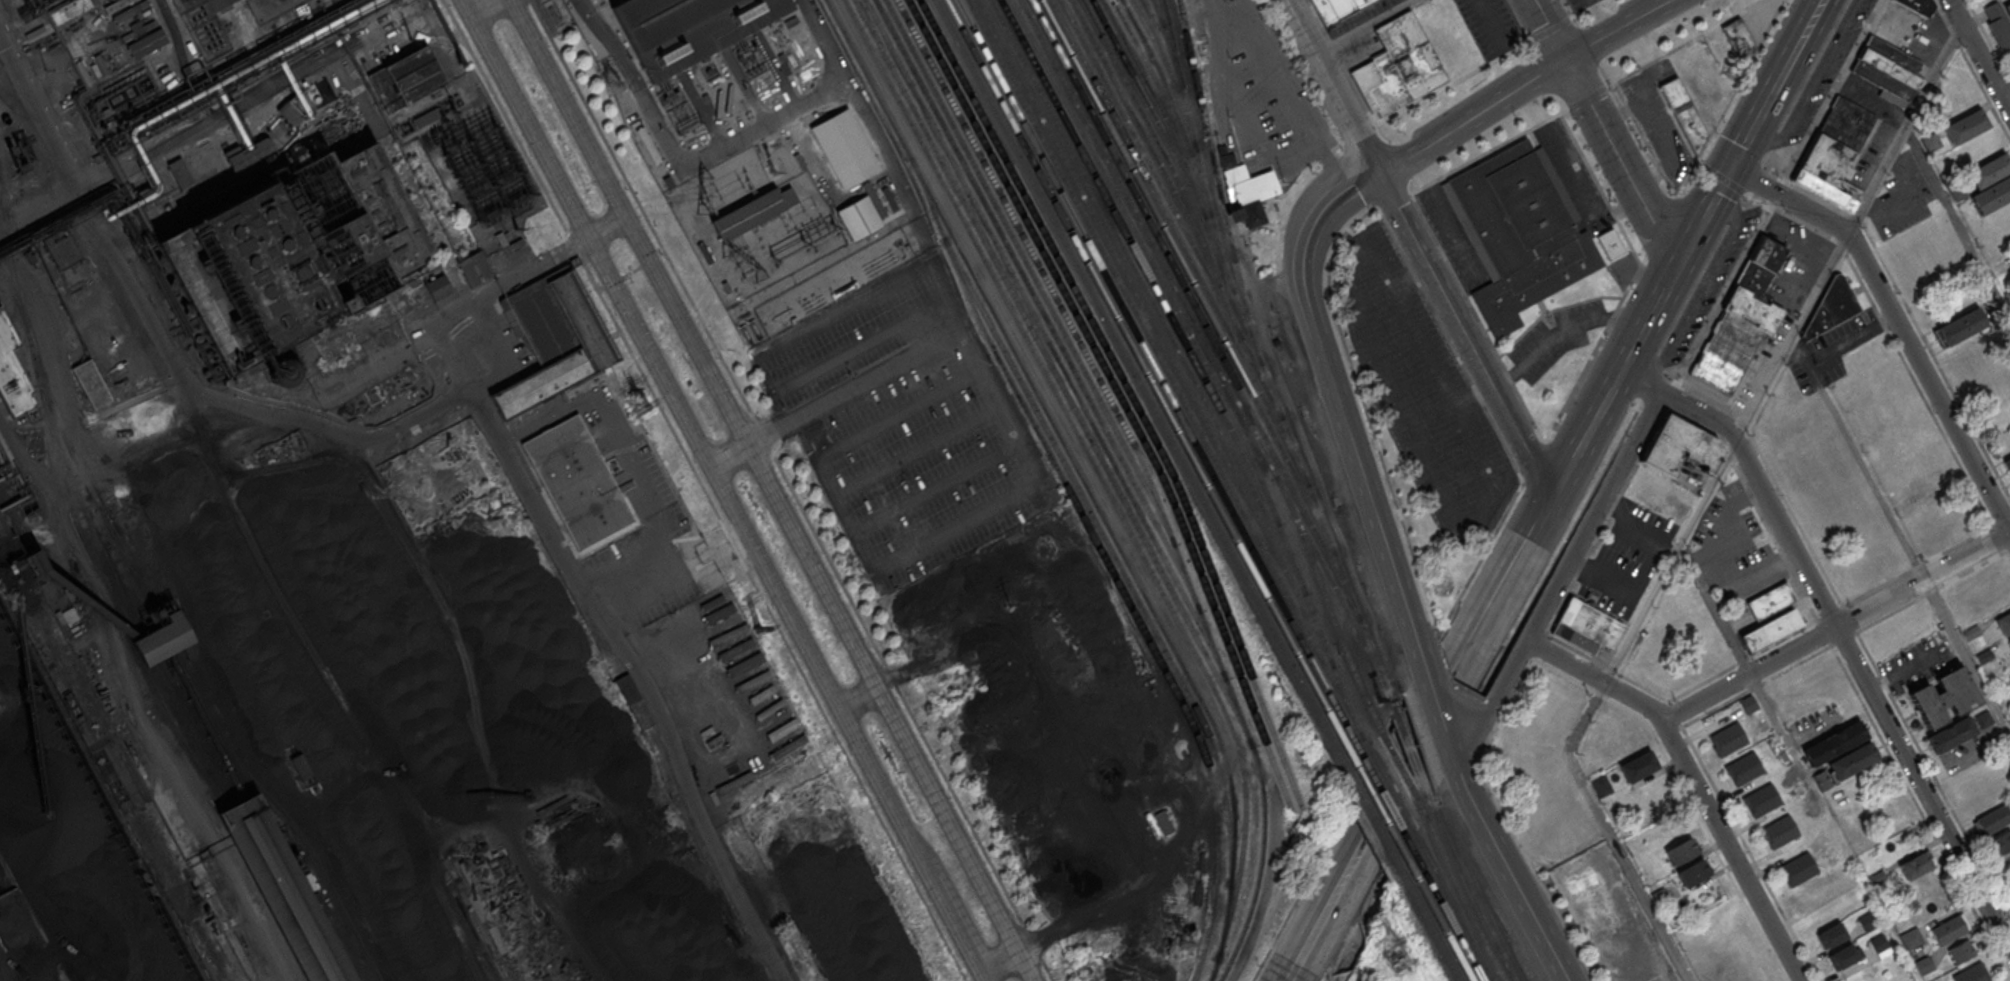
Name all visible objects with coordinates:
building: (115, 0)
road: (1951, 1)
building: (218, 4)
parking lot: (1579, 4)
building: (115, 5)
road: (479, 5)
building: (1918, 6)
road: (1216, 7)
power substation: (270, 8)
building: (1337, 9)
building: (130, 11)
railway: (1158, 12)
railway: (1165, 12)
road: (1601, 17)
road: (1809, 23)
building: (1999, 23)
parking lot: (1490, 25)
road: (1365, 26)
building: (687, 29)
road: (1620, 29)
building: (141, 36)
building: (1739, 39)
railway: (1168, 42)
road: (1971, 43)
railway: (1156, 44)
building: (96, 66)
building: (1398, 66)
road: (1785, 68)
building: (1888, 70)
road: (780, 73)
railway: (1160, 75)
railway: (1172, 77)
building: (405, 79)
road: (2002, 82)
road: (1335, 85)
power tower: (612, 88)
road: (1810, 90)
road: (749, 91)
road: (2002, 100)
railway: (1168, 104)
railway: (1149, 108)
building: (290, 113)
road: (703, 113)
building: (1685, 114)
road: (1475, 116)
building: (426, 117)
road: (870, 121)
building: (1965, 127)
road: (1752, 130)
road: (1605, 131)
road: (1906, 131)
railway: (1146, 141)
road: (1296, 141)
railway: (1175, 142)
power plant: (759, 150)
building: (1834, 151)
building: (787, 152)
road: (682, 155)
building: (251, 158)
road: (1327, 161)
building: (865, 162)
power substation: (478, 163)
railway: (1169, 165)
traffic signals: (1730, 170)
building: (183, 178)
railway: (1216, 183)
building: (1990, 183)
building: (880, 193)
road: (1337, 193)
building: (1252, 194)
building: (787, 196)
road: (1908, 201)
power substation: (775, 208)
railway: (1171, 208)
road: (39, 209)
building: (747, 213)
railway: (1128, 220)
road: (1958, 225)
building: (1519, 234)
railway: (1180, 242)
building: (1610, 245)
building: (62, 248)
building: (293, 254)
road: (663, 255)
road: (651, 261)
traffic signals: (651, 262)
railway: (1140, 262)
railway: (14, 267)
building: (475, 269)
road: (632, 271)
railway: (1032, 271)
road: (1411, 274)
railway: (1189, 276)
road: (613, 282)
traffic signals: (613, 282)
building: (438, 287)
road: (601, 288)
road: (1704, 291)
railway: (1148, 296)
railway: (1039, 305)
railway: (1196, 309)
building: (1827, 310)
road: (460, 312)
building: (1742, 318)
road: (1897, 323)
building: (1960, 328)
road: (1557, 330)
railway: (1156, 332)
road: (1637, 332)
road: (1465, 335)
building: (554, 338)
railway: (1047, 338)
road: (1851, 339)
railway: (1203, 343)
road: (863, 344)
road: (165, 346)
road: (1799, 352)
railway: (1259, 359)
railway: (1055, 372)
building: (11, 376)
railway: (1169, 376)
railway: (1161, 380)
building: (91, 385)
railway: (1152, 386)
railway: (1104, 388)
railway: (1144, 391)
railway: (1131, 394)
railway: (1119, 396)
road: (1474, 397)
road: (835, 398)
road: (1343, 417)
road: (128, 420)
parking lot: (907, 424)
building: (1681, 447)
road: (919, 450)
road: (1726, 460)
building: (2007, 463)
railway: (1076, 467)
road: (1864, 470)
railway: (1102, 477)
building: (576, 480)
road: (293, 484)
railway: (90, 486)
road: (937, 487)
road: (705, 490)
road: (722, 490)
road: (773, 490)
road: (792, 490)
road: (1013, 499)
road: (1491, 500)
railway: (86, 513)
railway: (87, 544)
road: (1670, 546)
railway: (1287, 548)
railway: (1112, 554)
road: (1517, 559)
road: (1710, 559)
railway: (1105, 560)
building: (27, 562)
road: (1648, 568)
power tower: (856, 576)
road: (675, 580)
road: (1561, 580)
building: (1771, 601)
power tower: (1007, 604)
railway: (1326, 605)
building: (719, 612)
road: (102, 617)
building: (2003, 621)
building: (1702, 622)
road: (1411, 626)
road: (1835, 626)
building: (1587, 627)
building: (1769, 630)
road: (1838, 634)
railway: (169, 636)
building: (163, 637)
building: (2009, 641)
railway: (40, 642)
railway: (149, 646)
road: (623, 649)
road: (1967, 657)
railway: (69, 674)
road: (330, 687)
building: (1945, 699)
road: (859, 700)
road: (1437, 704)
building: (1749, 704)
road: (449, 716)
railway: (190, 731)
road: (1404, 736)
building: (1952, 736)
building: (1728, 738)
building: (1835, 743)
road: (1430, 752)
railway: (1410, 753)
road: (1455, 761)
building: (1853, 761)
railway: (128, 765)
building: (1639, 766)
building: (301, 767)
building: (1744, 768)
railway: (1400, 771)
road: (1693, 783)
building: (1602, 785)
railway: (1390, 791)
railway: (1386, 799)
building: (1762, 800)
railway: (283, 811)
railway: (1379, 811)
building: (1992, 821)
building: (1163, 822)
railway: (1374, 822)
road: (1483, 825)
building: (1779, 831)
road: (1611, 833)
building: (1682, 851)
building: (1915, 866)
building: (1798, 869)
building: (1693, 873)
building: (2009, 886)
building: (283, 889)
railway: (280, 890)
railway: (1467, 891)
railway: (271, 892)
railway: (1255, 892)
railway: (1459, 897)
railway: (1451, 905)
railway: (1445, 909)
railway: (1435, 915)
railway: (1427, 920)
road: (1319, 925)
building: (1950, 930)
road: (1541, 931)
railway: (474, 932)
building: (1832, 935)
power tower: (1391, 938)
building: (1912, 938)
power tower: (1188, 941)
building: (1961, 951)
building: (1843, 957)
road: (998, 962)
building: (1925, 965)
railway: (492, 967)
building: (1972, 974)

